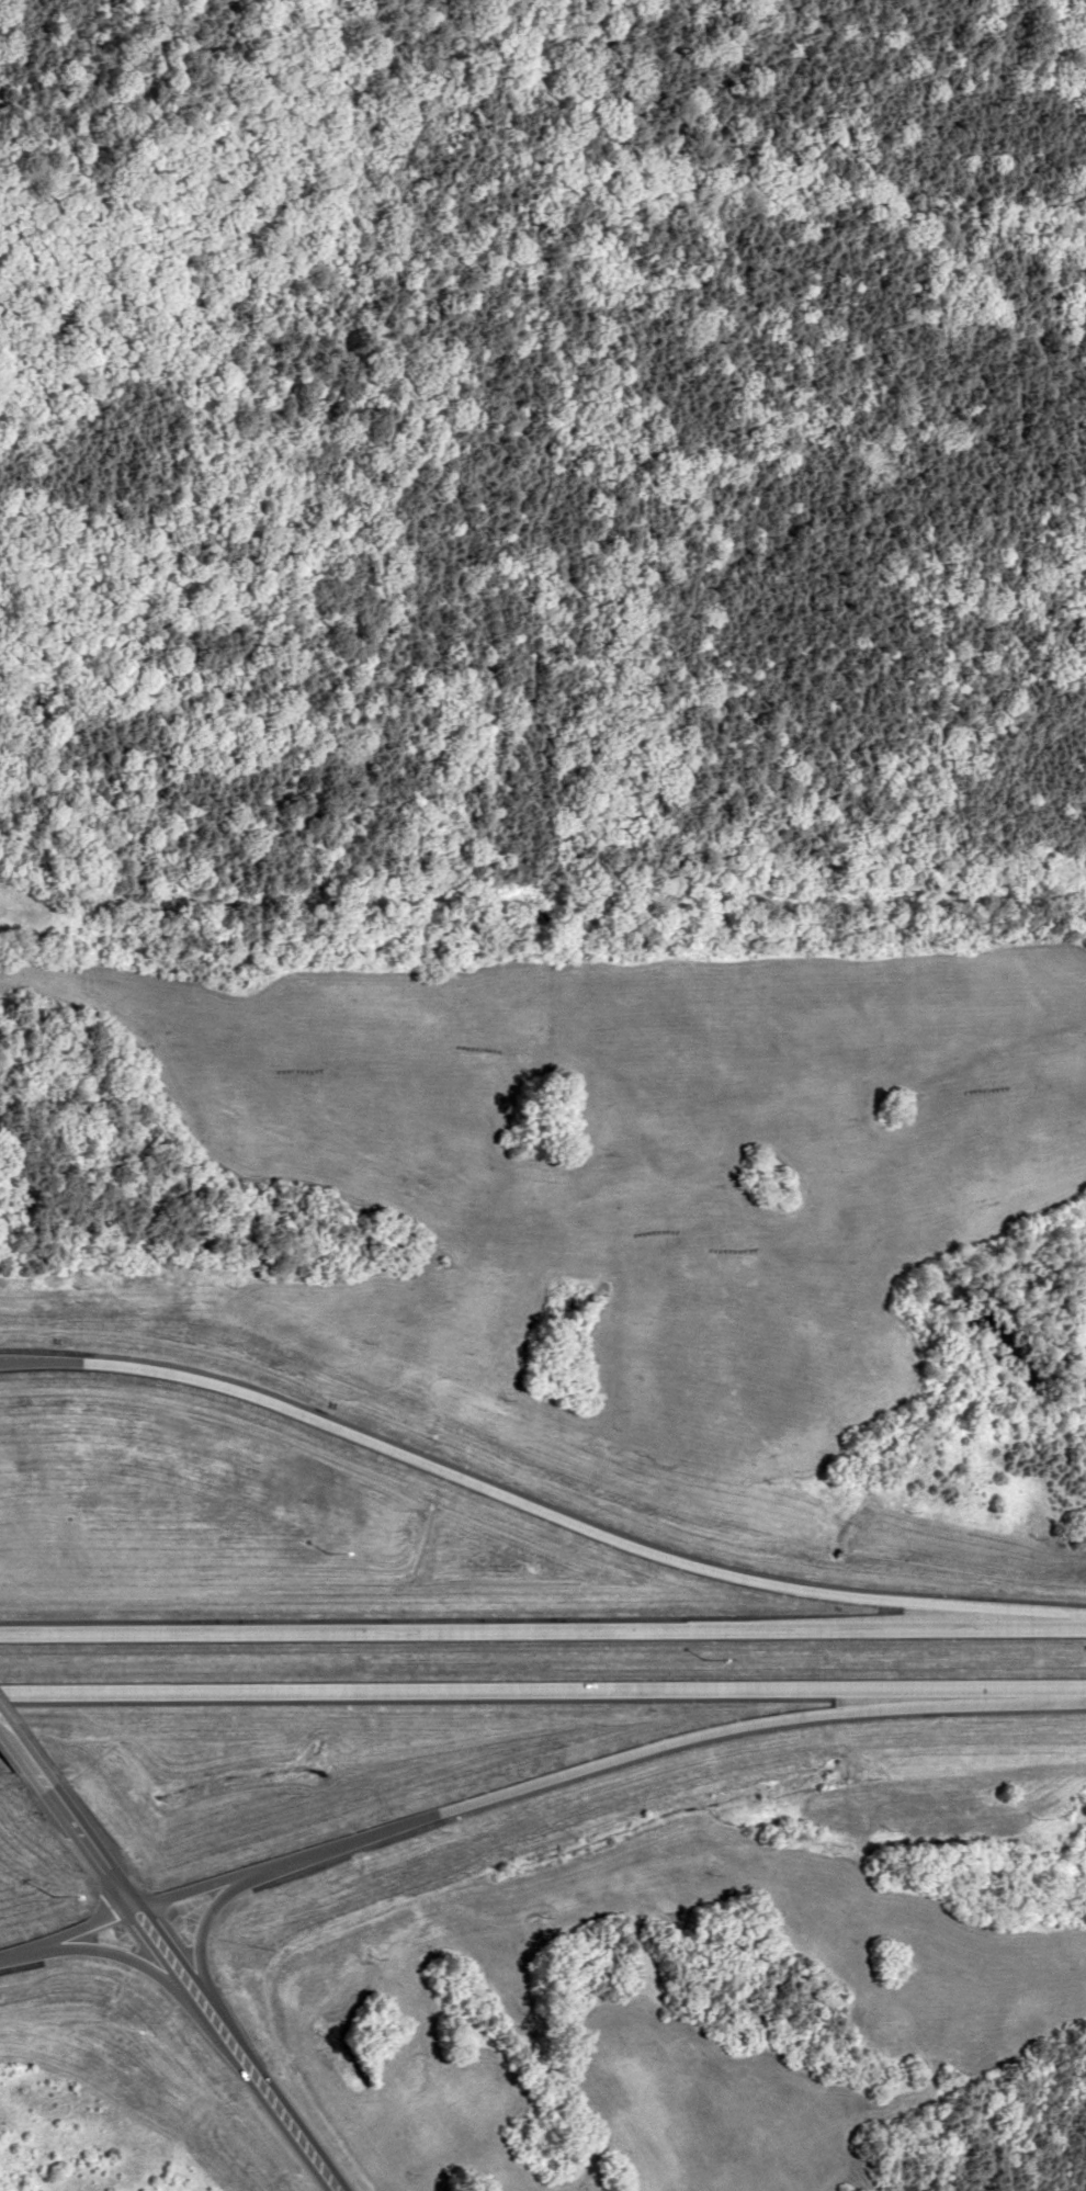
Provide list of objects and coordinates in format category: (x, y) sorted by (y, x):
road: (538, 1511)
road: (543, 1631)
road: (543, 1693)
road: (18, 1760)
road: (585, 1768)
road: (203, 1923)
road: (82, 1929)
road: (18, 1952)
road: (115, 1954)
road: (188, 1986)
building: (893, 2186)

